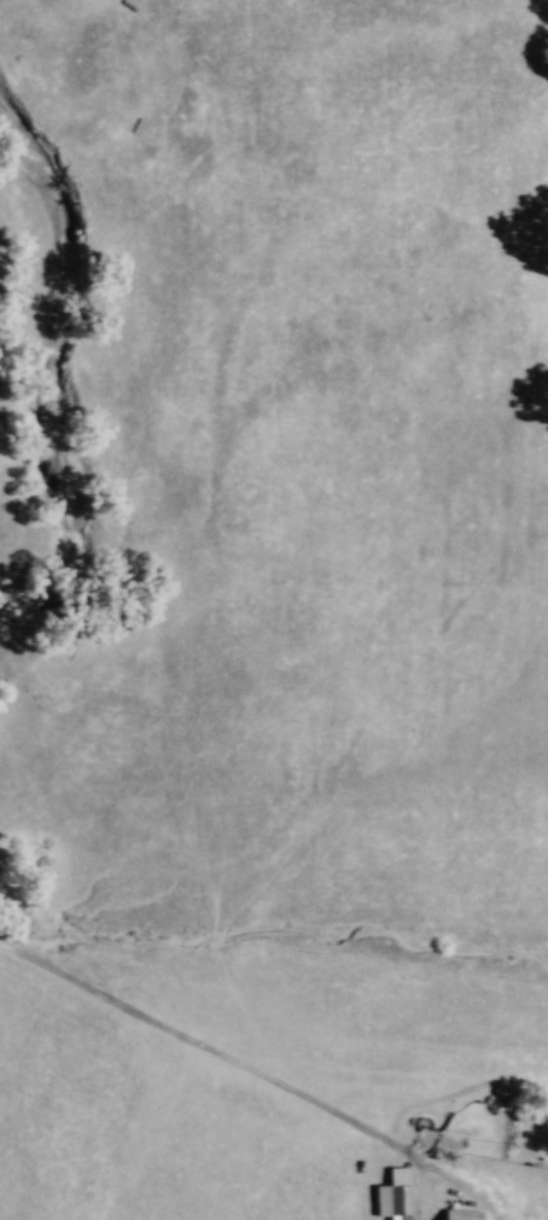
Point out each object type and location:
road: (256, 1073)
building: (392, 1195)
road: (431, 1195)
building: (460, 1214)

